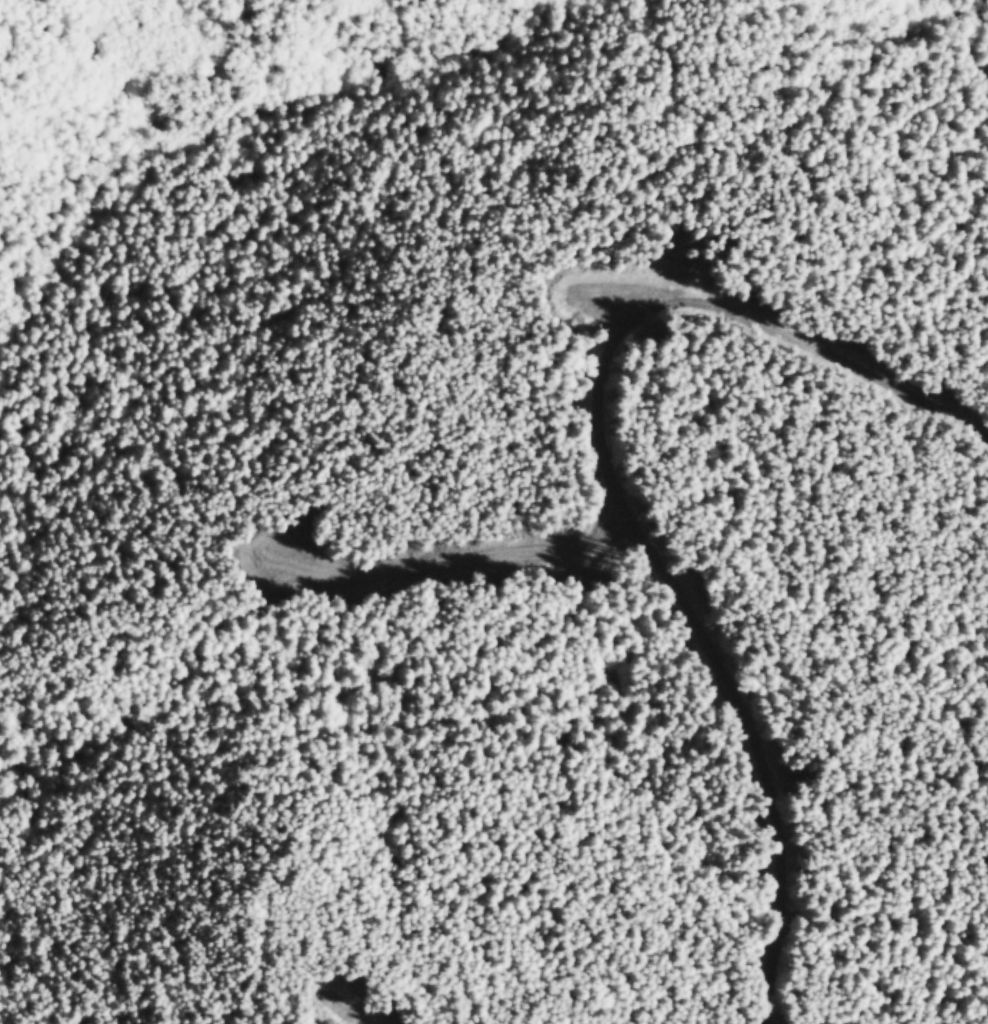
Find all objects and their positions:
road: (641, 500)

